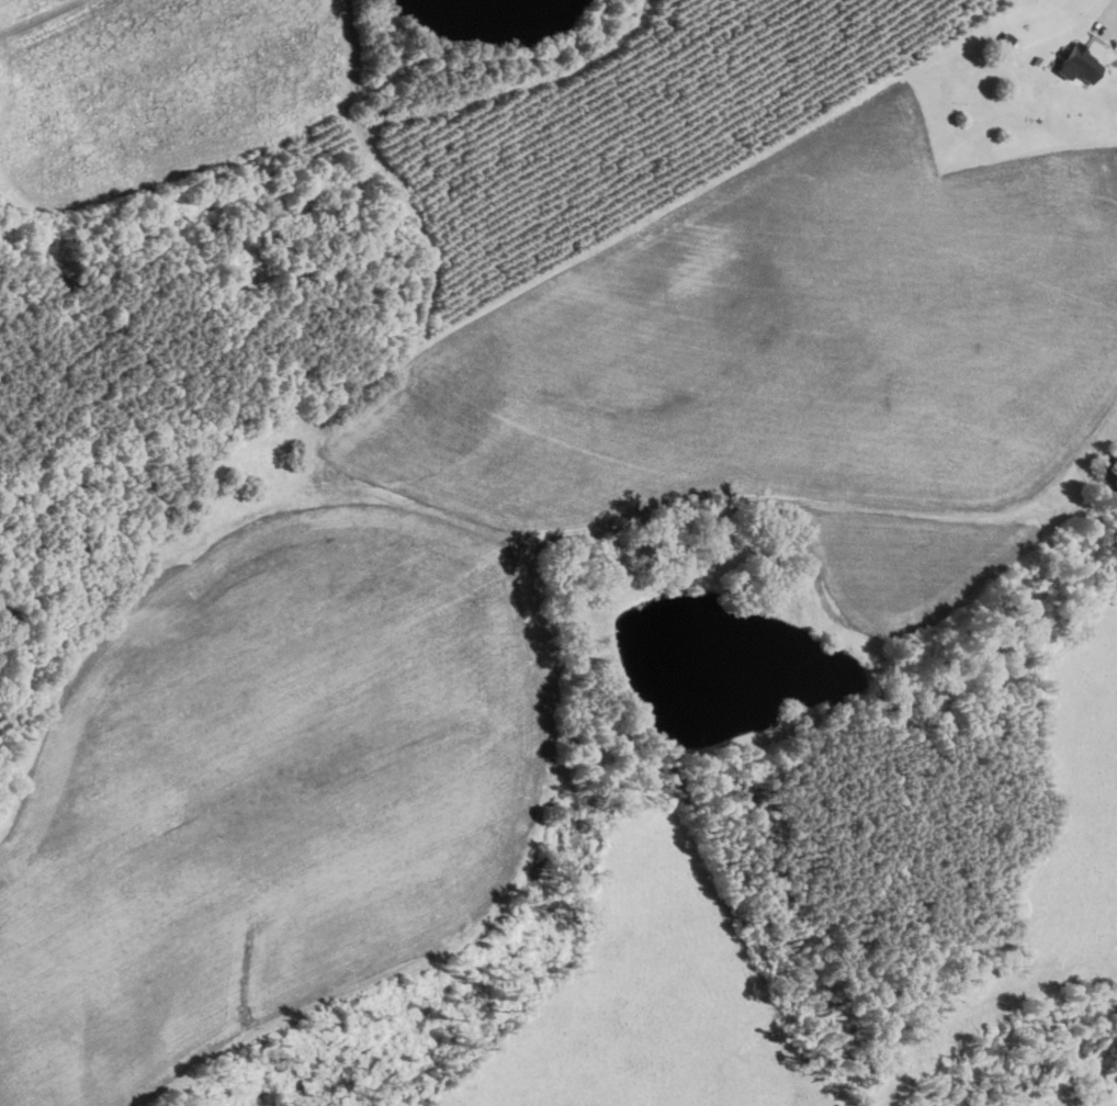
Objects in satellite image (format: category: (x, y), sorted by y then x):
road: (1104, 29)
building: (1076, 66)

